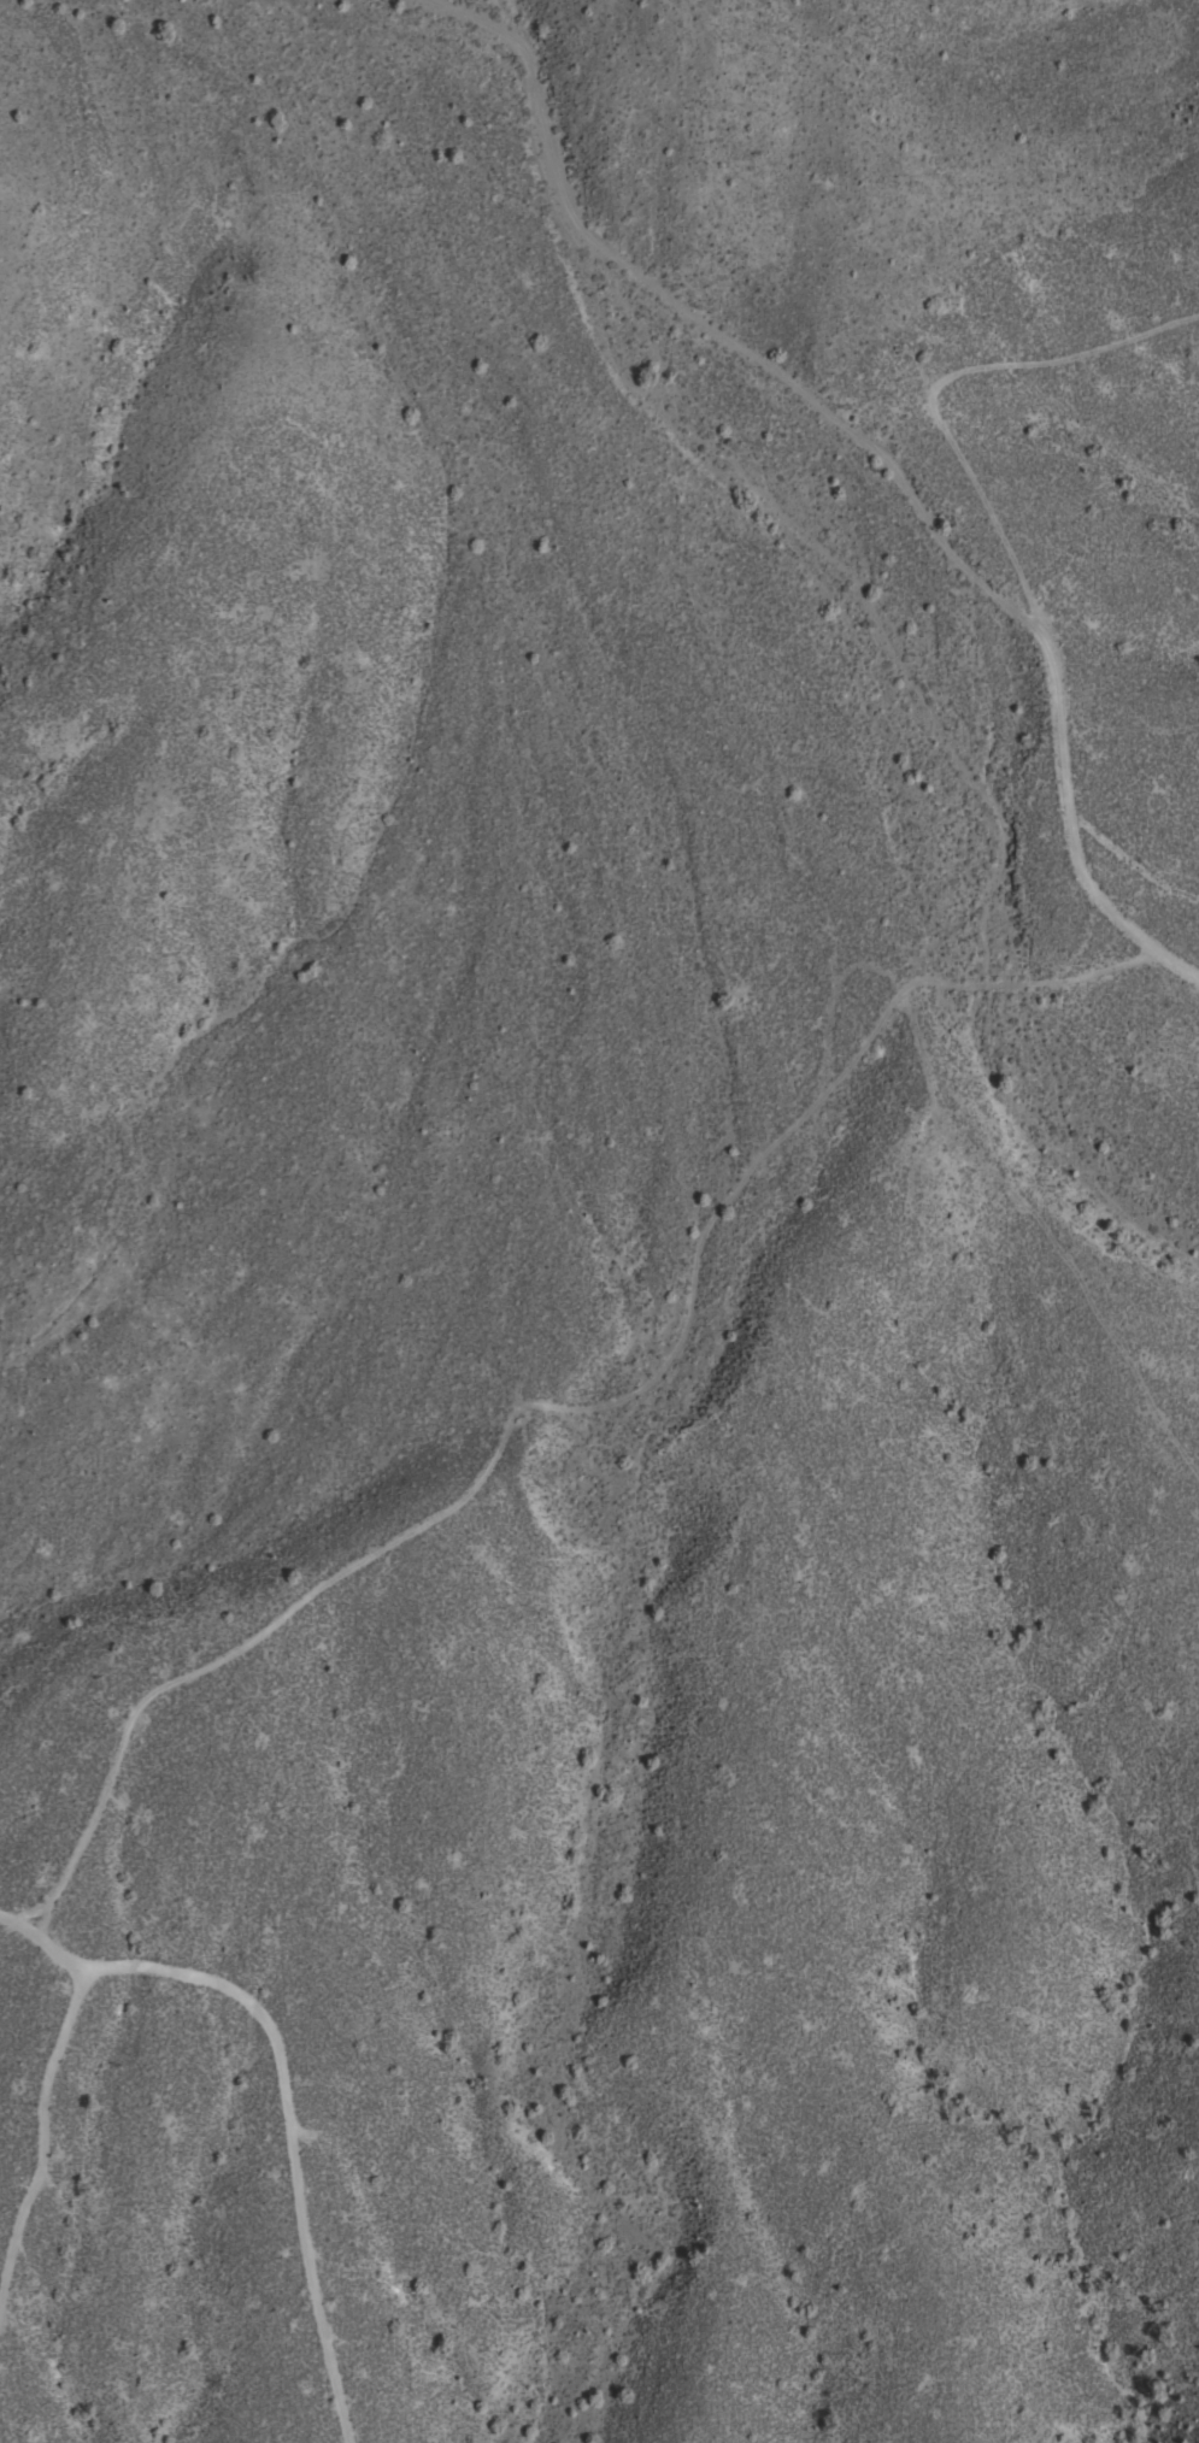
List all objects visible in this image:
road: (805, 449)
road: (1192, 977)
road: (571, 1408)
road: (292, 2092)
road: (41, 2131)

